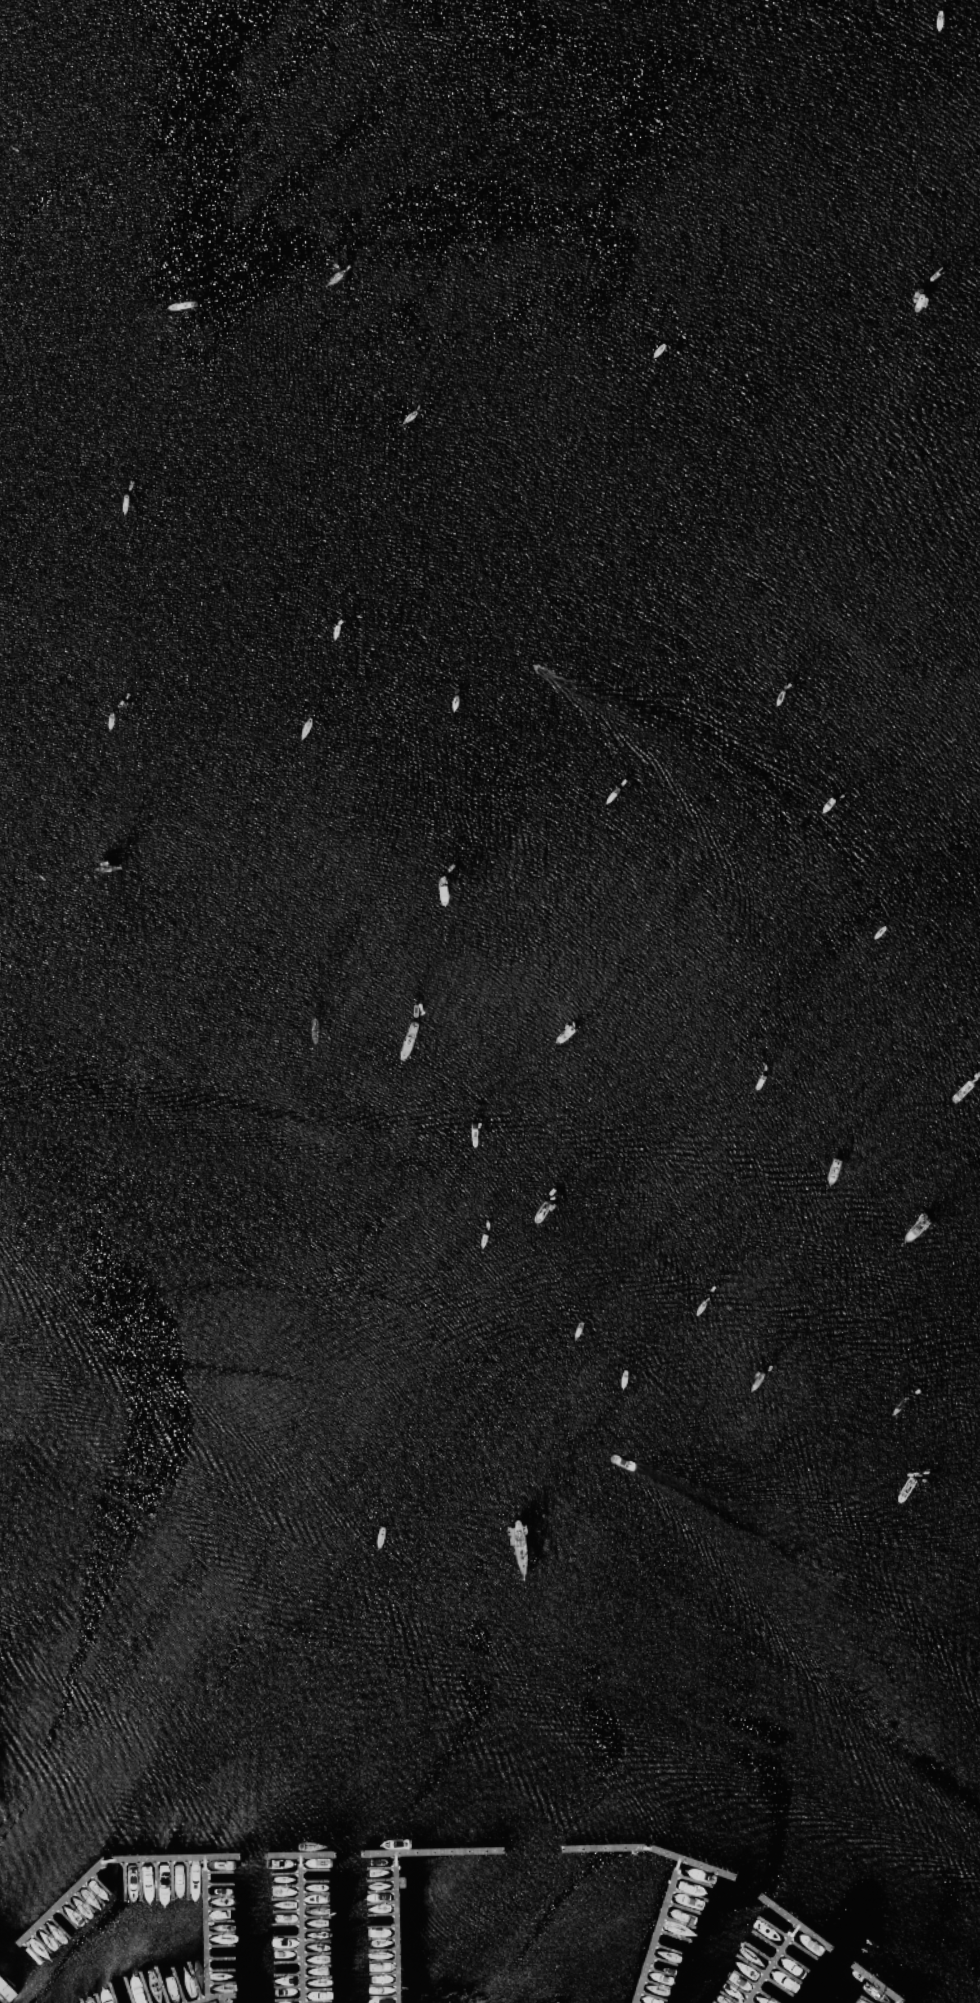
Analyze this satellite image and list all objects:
pier: (648, 1849)
pier: (432, 1851)
pier: (298, 1857)
pier: (109, 1860)
pier: (396, 1927)
pier: (205, 1928)
pier: (300, 1930)
pier: (657, 1931)
pier: (813, 1937)
pier: (783, 1945)
pier: (876, 1984)
road: (206, 2001)
road: (211, 2002)

